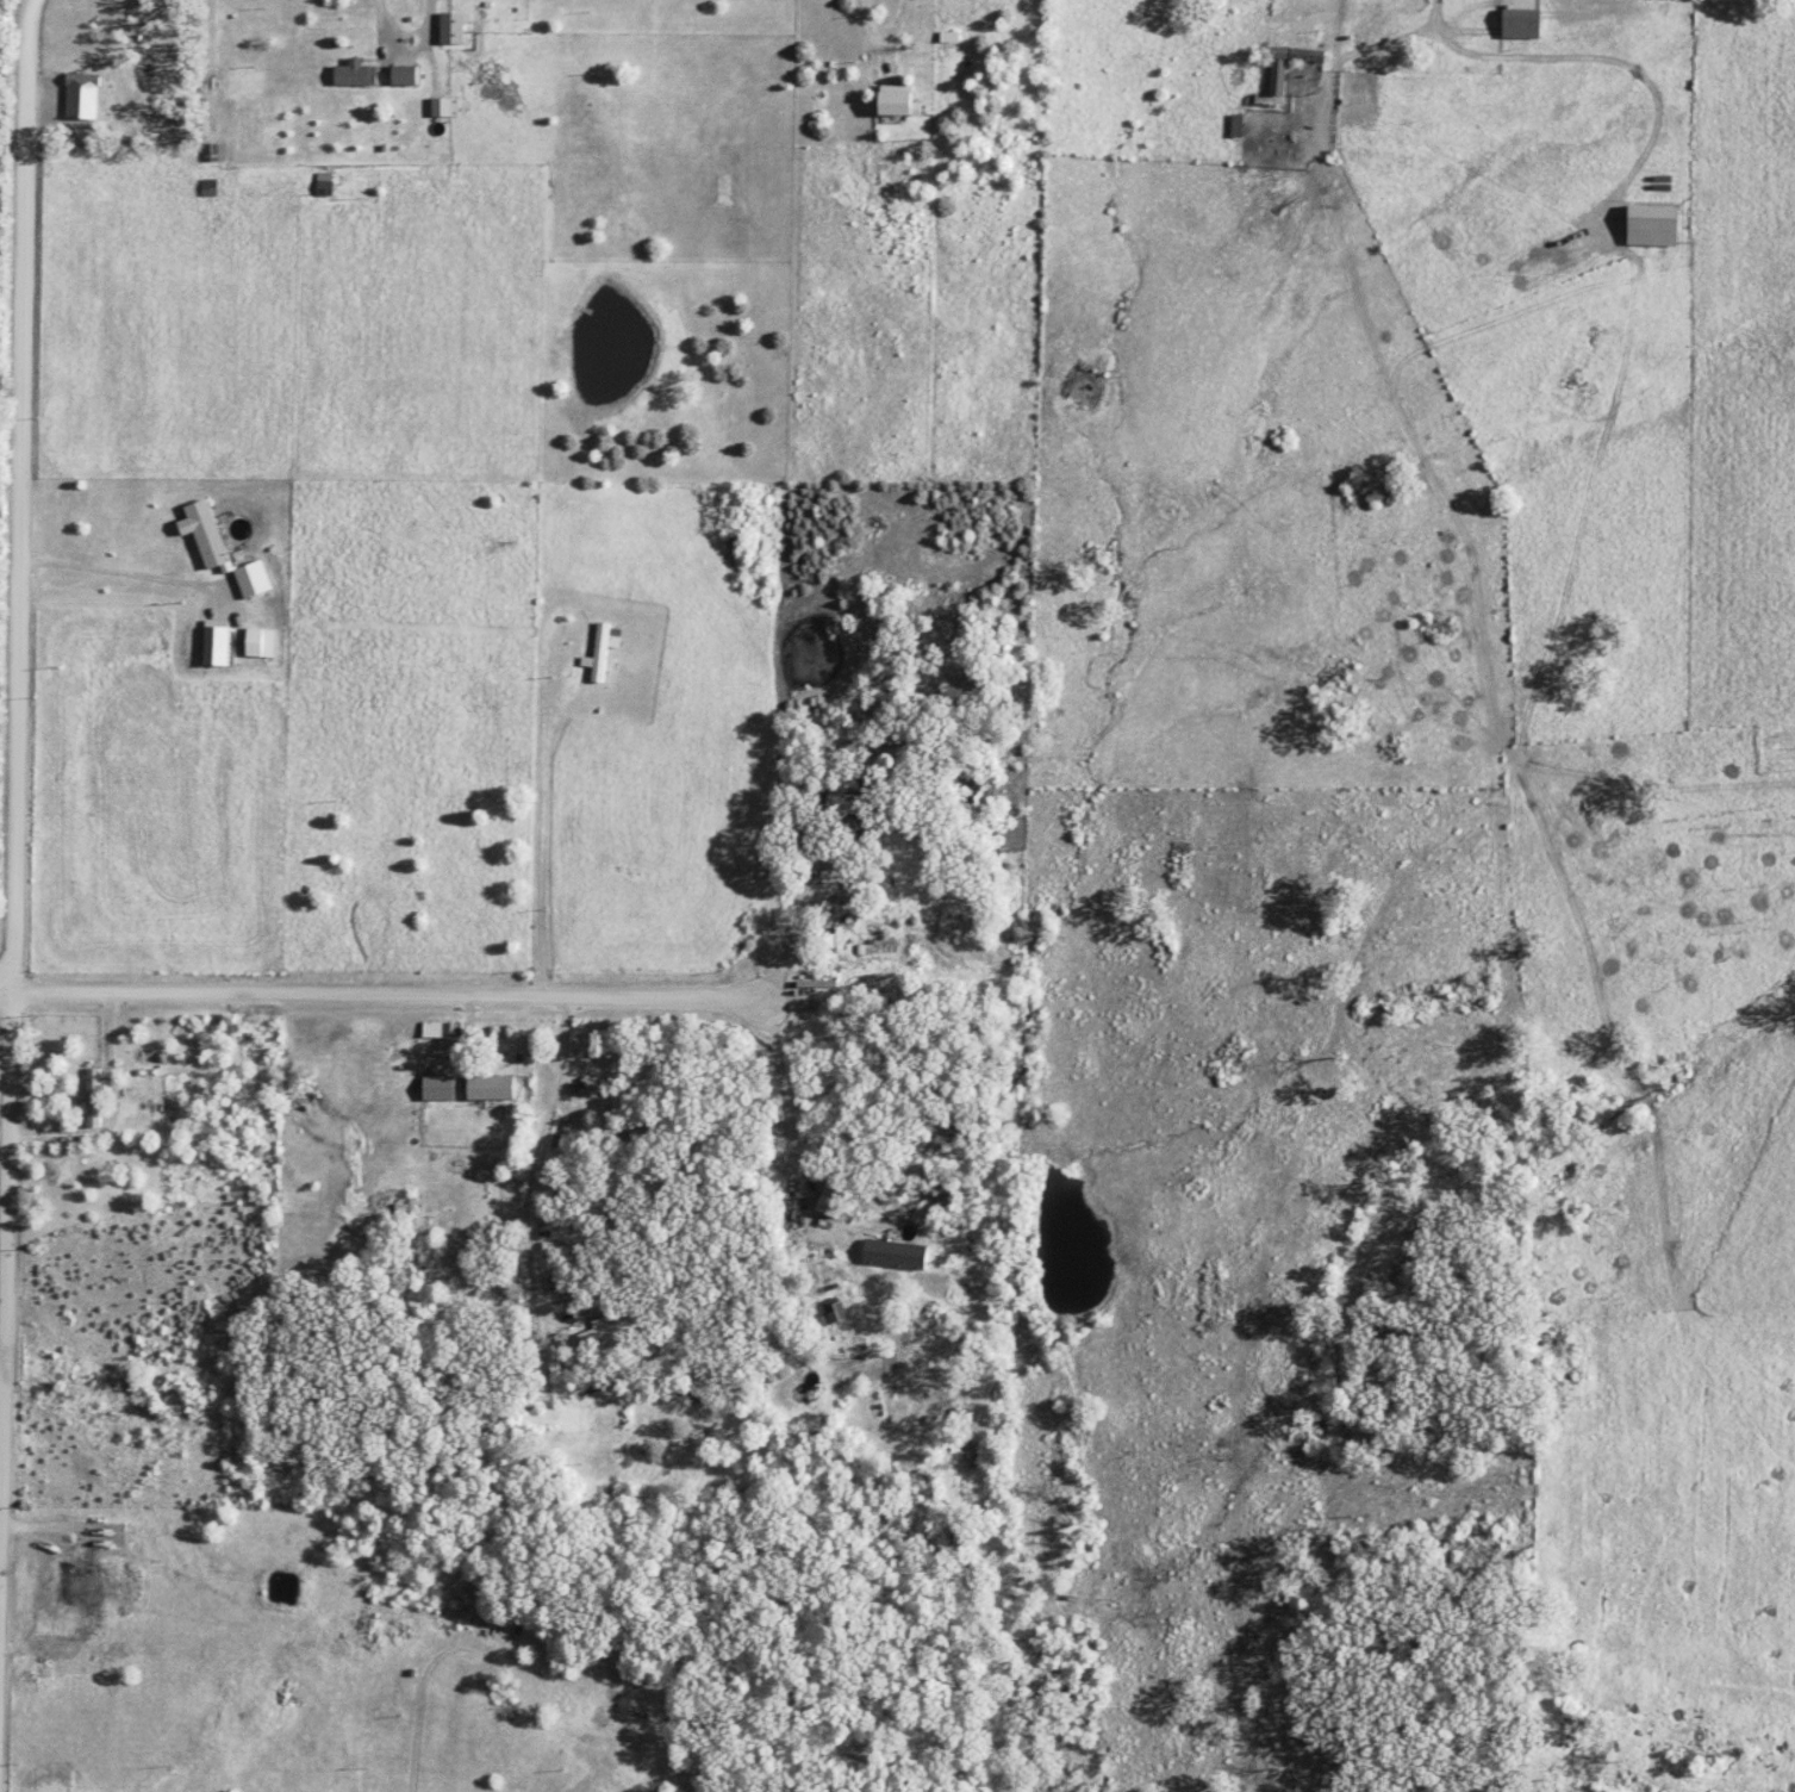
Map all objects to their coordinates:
road: (384, 12)
road: (898, 15)
road: (656, 25)
building: (1522, 25)
building: (454, 27)
road: (213, 61)
building: (1280, 69)
building: (355, 74)
building: (404, 76)
building: (82, 98)
building: (898, 101)
building: (445, 108)
building: (216, 154)
road: (1406, 157)
building: (325, 186)
building: (210, 188)
building: (1654, 226)
building: (205, 534)
road: (120, 575)
building: (253, 580)
building: (260, 645)
building: (602, 652)
road: (17, 892)
road: (361, 894)
road: (369, 975)
road: (381, 993)
road: (467, 1027)
building: (431, 1031)
building: (490, 1089)
building: (438, 1090)
building: (92, 1100)
road: (119, 1106)
road: (791, 1147)
road: (536, 1161)
building: (896, 1253)
building: (834, 1312)
building: (596, 1334)

